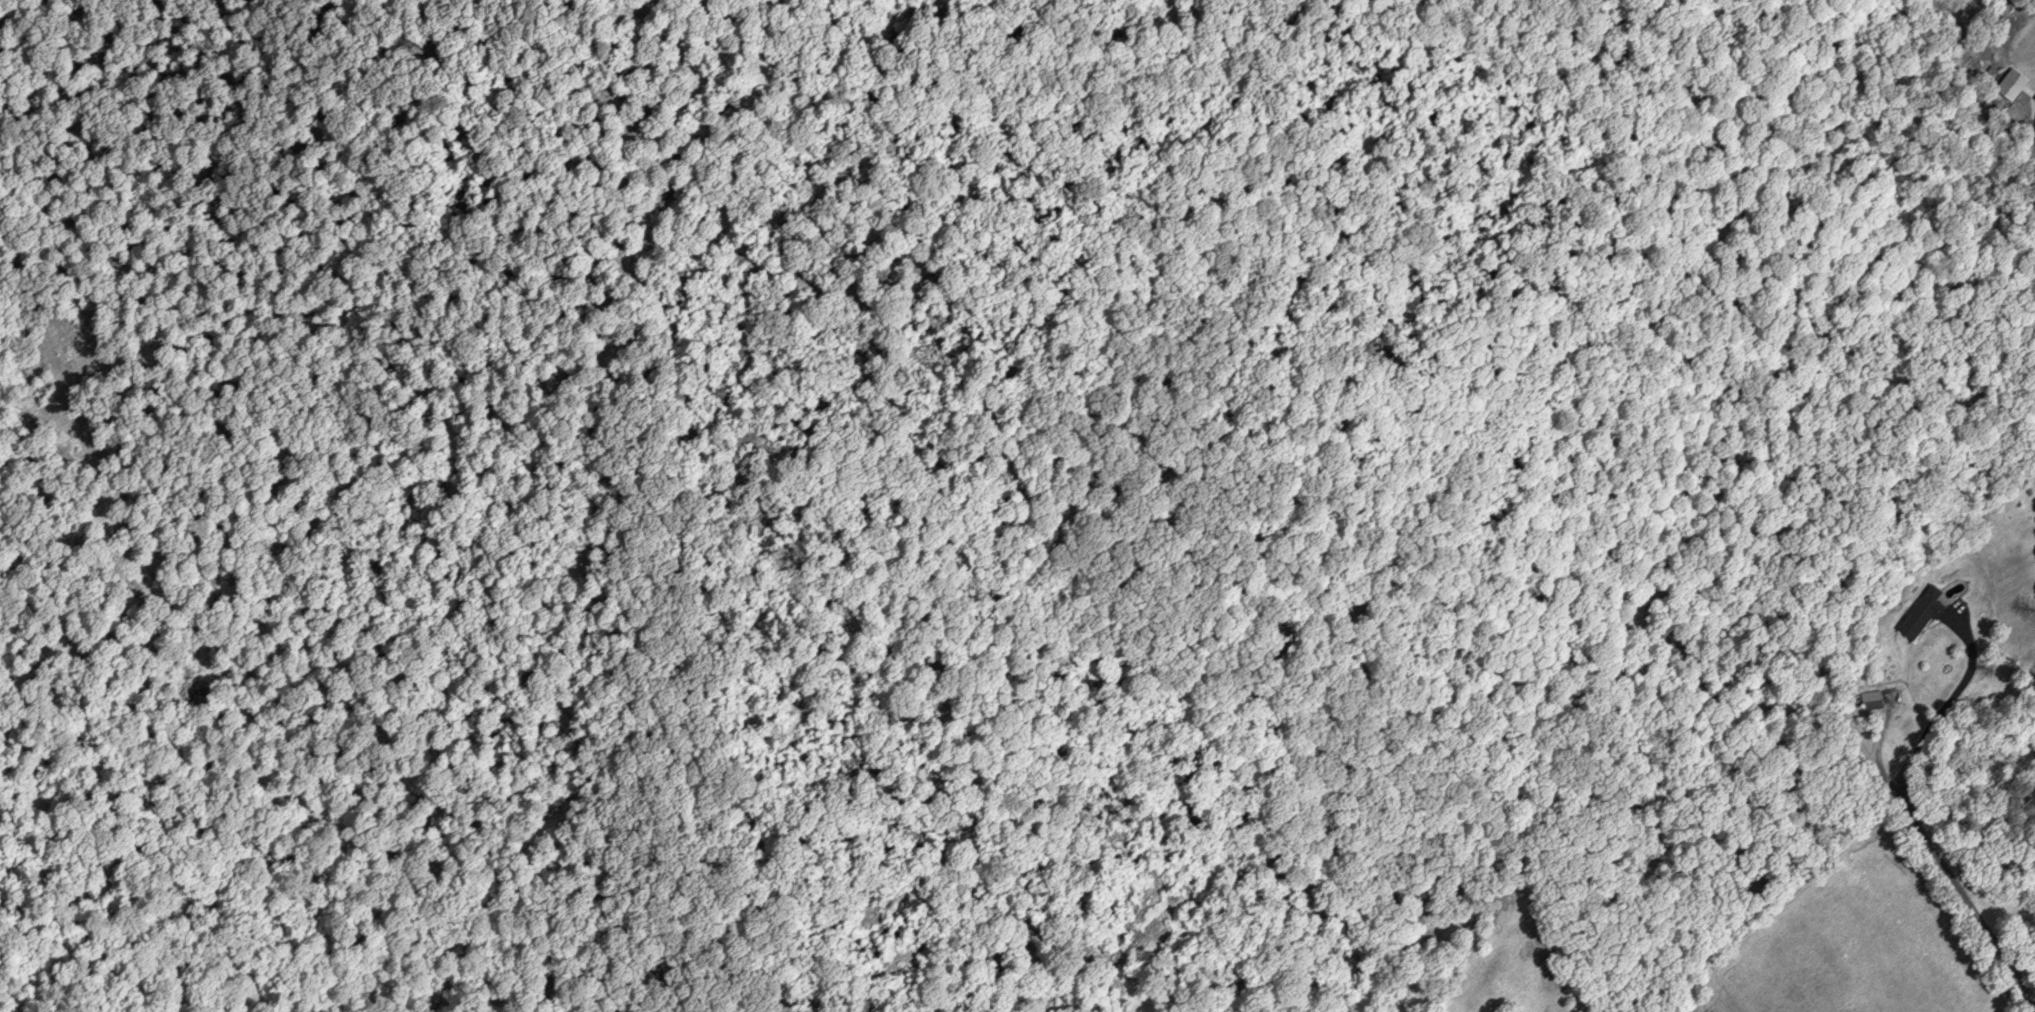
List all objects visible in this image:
building: (2006, 84)
building: (1926, 611)

